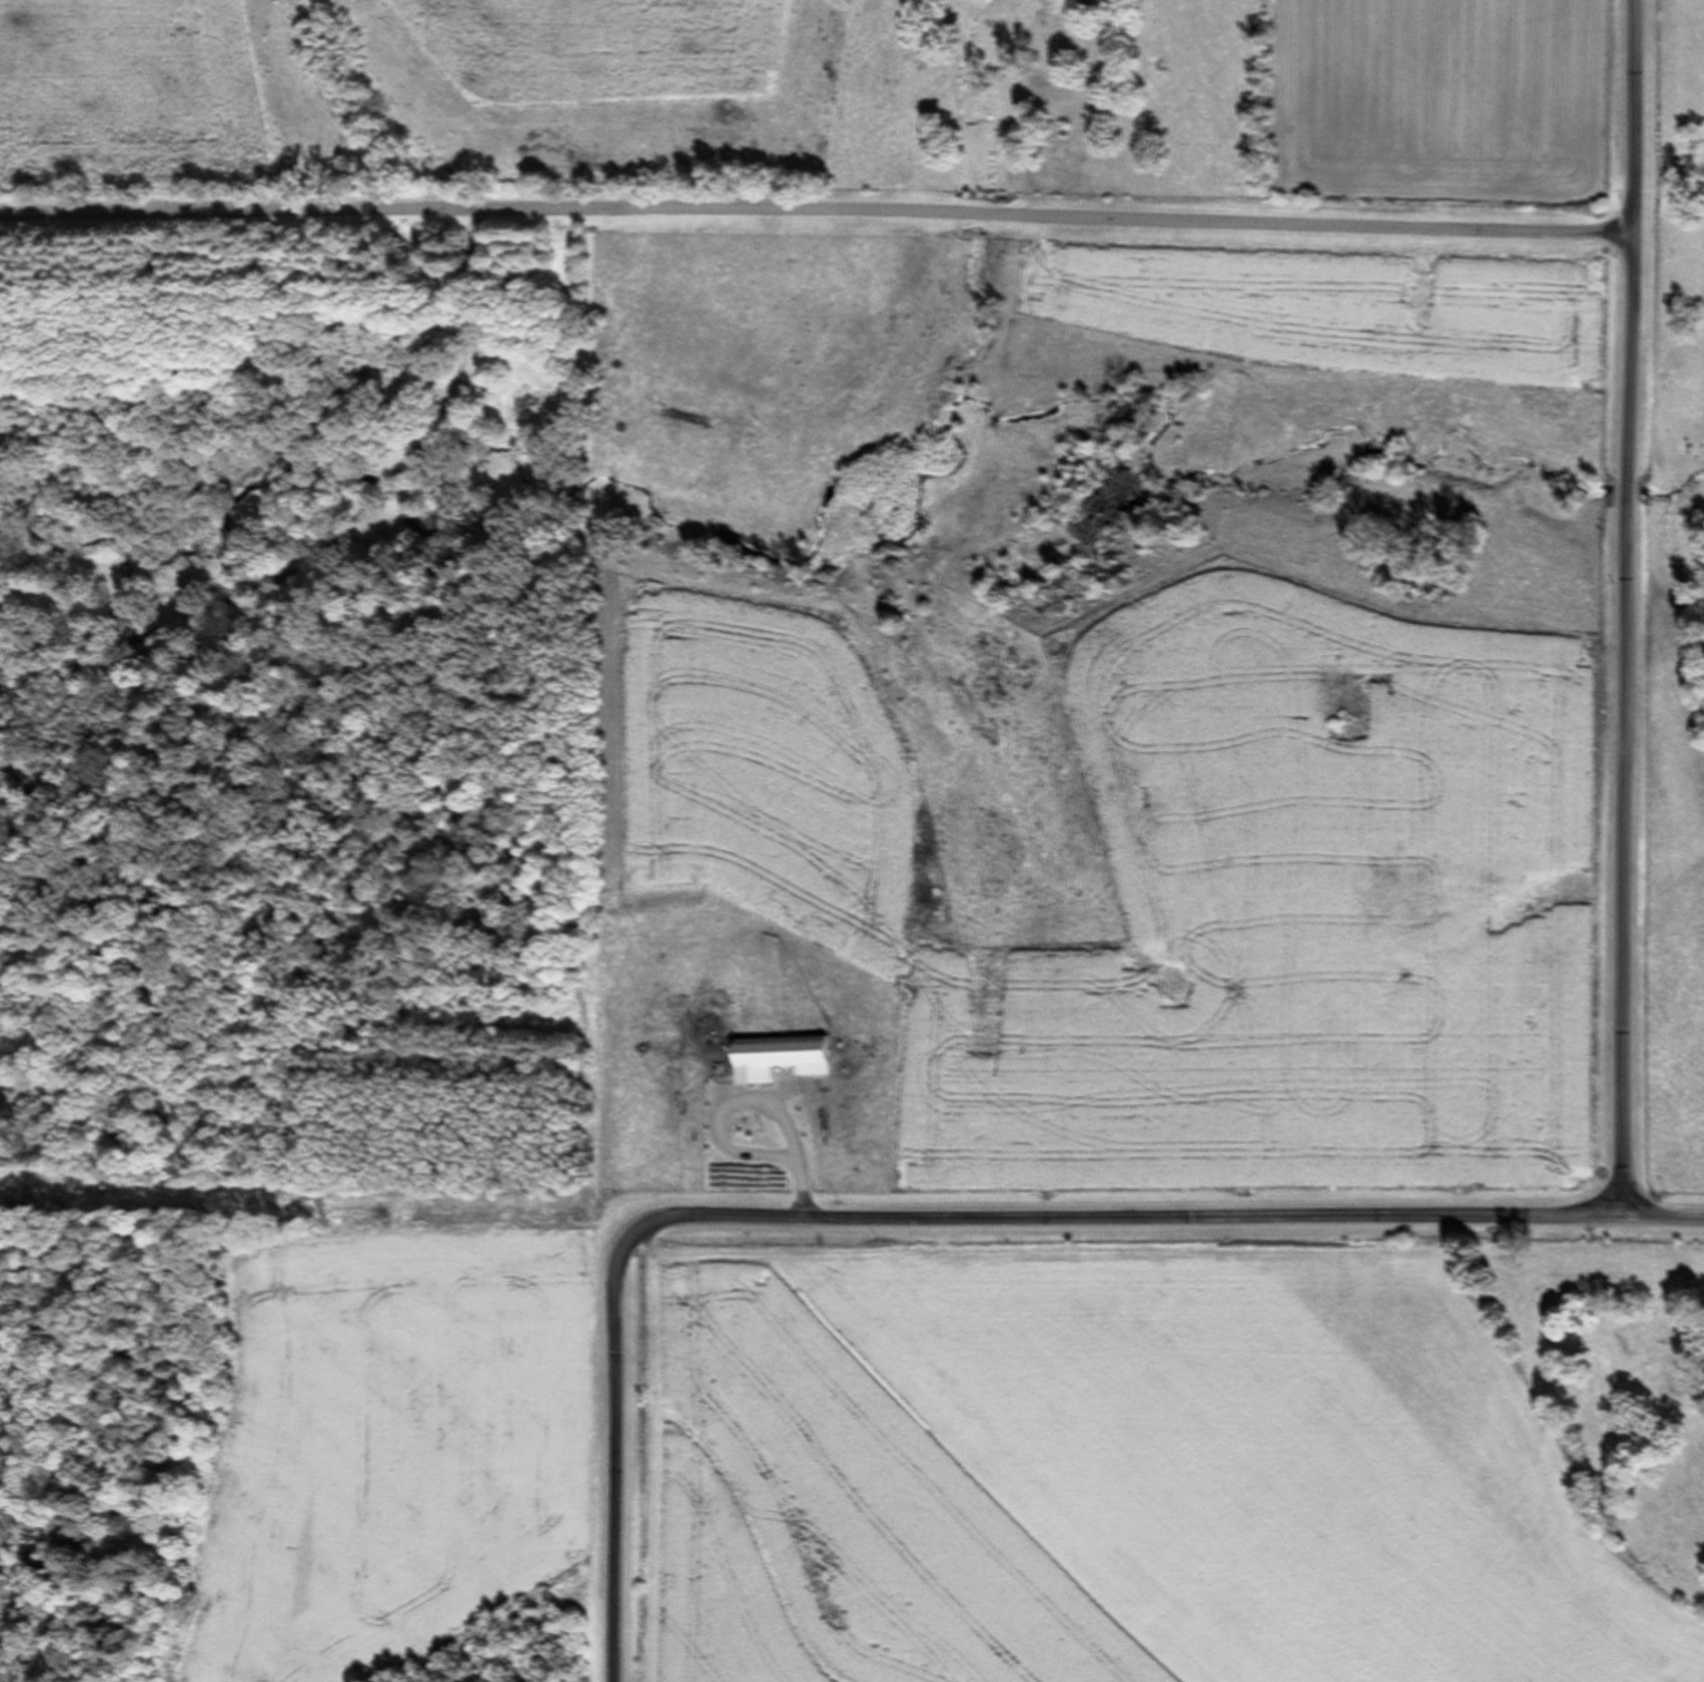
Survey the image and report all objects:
road: (815, 224)
road: (1629, 608)
building: (786, 1058)
building: (677, 1108)
road: (905, 1218)
road: (1665, 1218)

